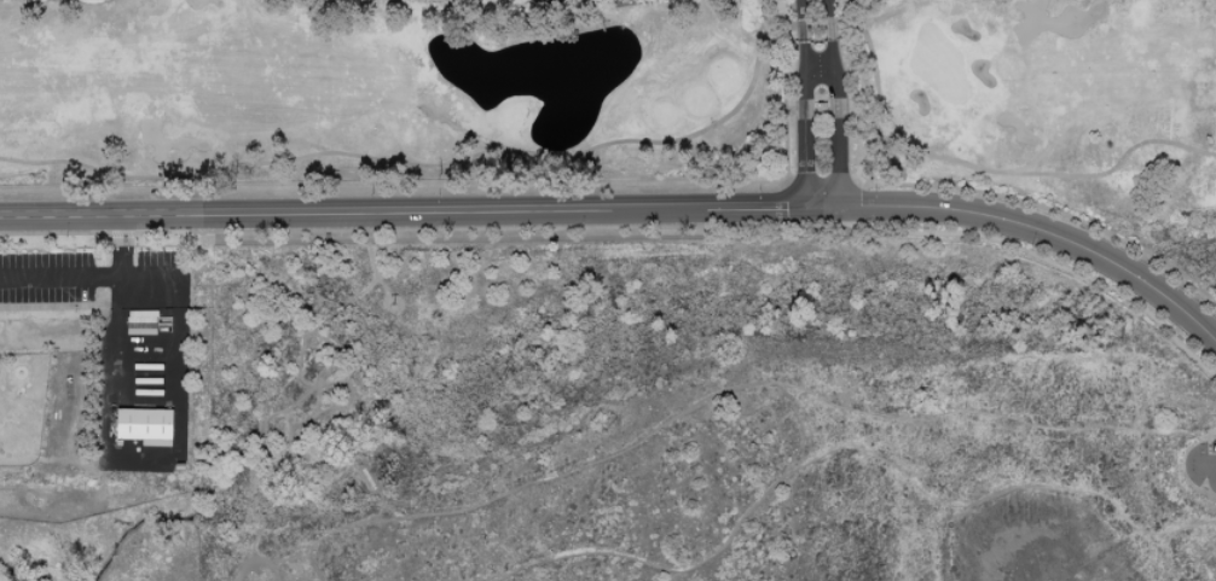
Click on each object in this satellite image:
road: (801, 58)
park: (394, 88)
park: (1038, 99)
road: (834, 103)
road: (803, 164)
road: (821, 182)
road: (394, 186)
road: (718, 205)
road: (306, 210)
road: (425, 227)
road: (1035, 228)
road: (1050, 262)
road: (93, 277)
parking lot: (97, 279)
road: (737, 388)
building: (145, 425)
road: (847, 446)
parking lot: (1197, 460)
road: (118, 463)
road: (1212, 471)

